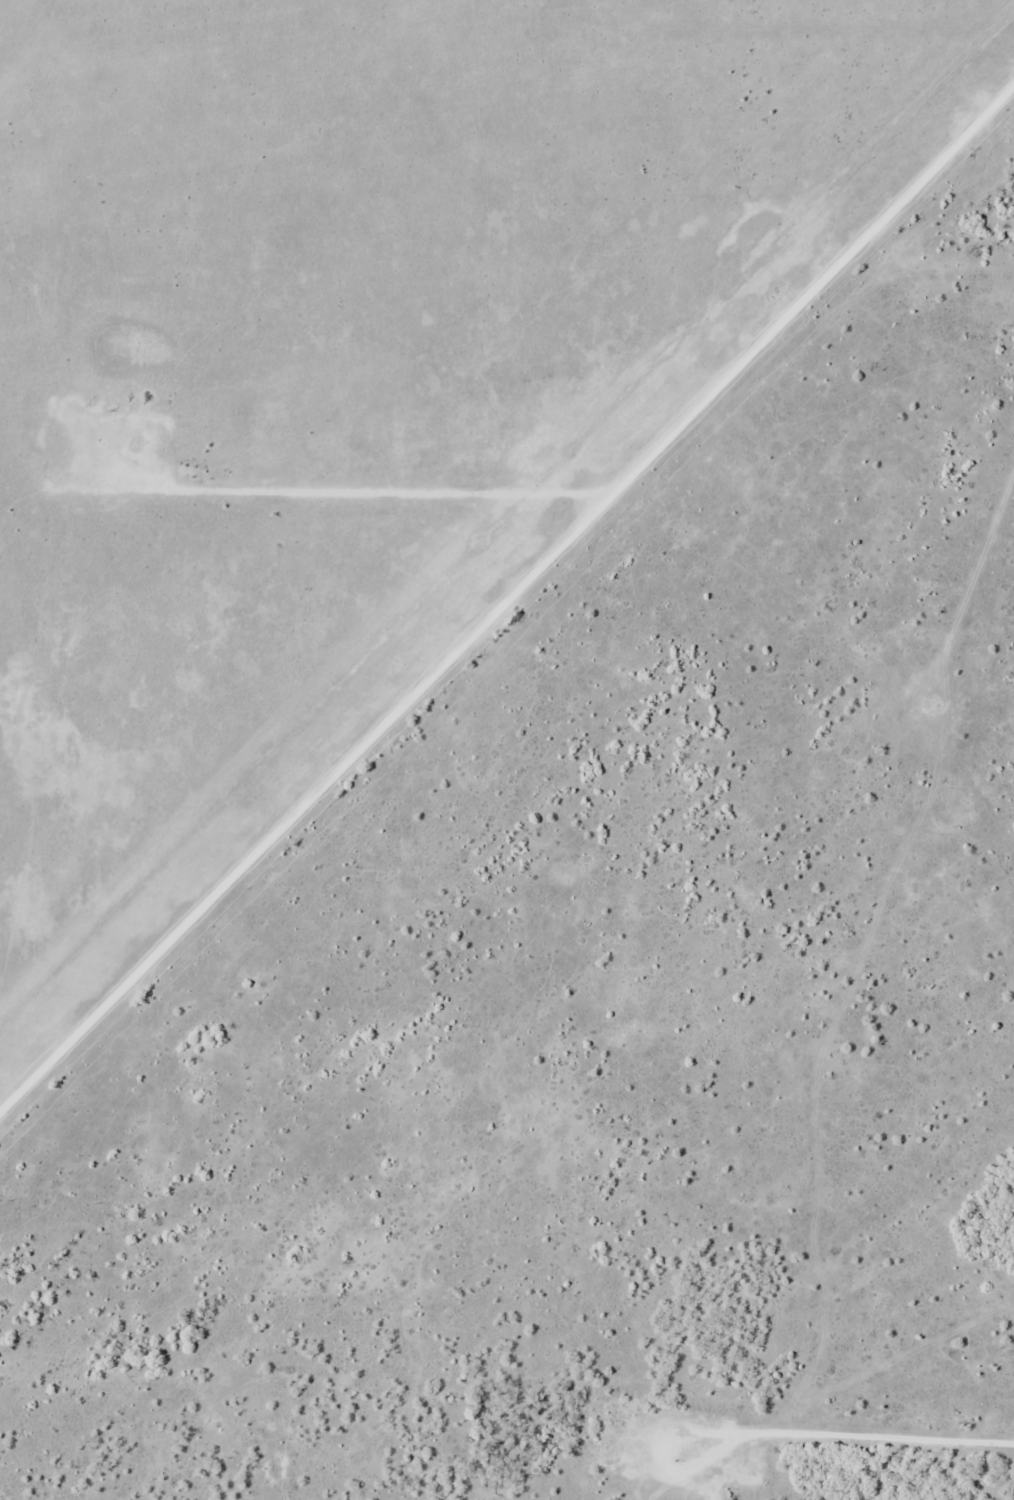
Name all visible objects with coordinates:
road: (707, 411)
road: (200, 926)
road: (841, 1440)

